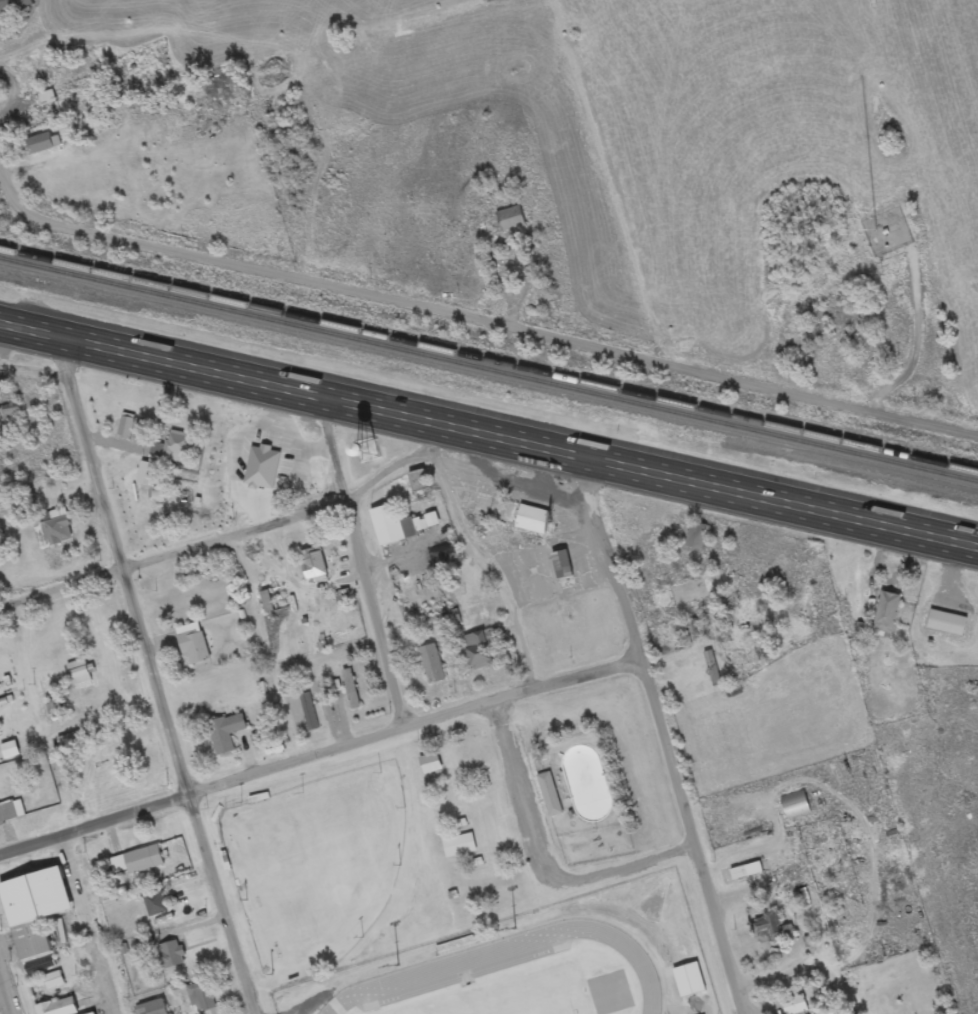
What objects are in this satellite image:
building: (15, 5)
building: (40, 145)
road: (17, 191)
building: (511, 220)
road: (508, 322)
railway: (489, 362)
railway: (489, 373)
road: (36, 380)
building: (9, 413)
building: (123, 427)
road: (488, 436)
building: (173, 449)
building: (363, 450)
building: (419, 483)
building: (533, 518)
building: (401, 526)
building: (56, 529)
building: (696, 537)
road: (177, 557)
road: (369, 566)
building: (562, 566)
building: (314, 567)
building: (887, 615)
building: (947, 625)
building: (193, 648)
building: (479, 652)
building: (432, 666)
building: (80, 674)
road: (156, 676)
building: (351, 691)
building: (310, 714)
building: (227, 734)
road: (667, 734)
road: (323, 766)
building: (430, 766)
building: (551, 796)
building: (592, 800)
building: (796, 807)
building: (11, 812)
building: (460, 847)
building: (137, 863)
building: (747, 873)
building: (789, 877)
building: (156, 905)
building: (26, 928)
building: (771, 929)
building: (170, 951)
building: (460, 964)
building: (54, 982)
building: (671, 988)
road: (5, 994)
building: (202, 999)
building: (795, 1006)
building: (59, 1008)
building: (152, 1009)

